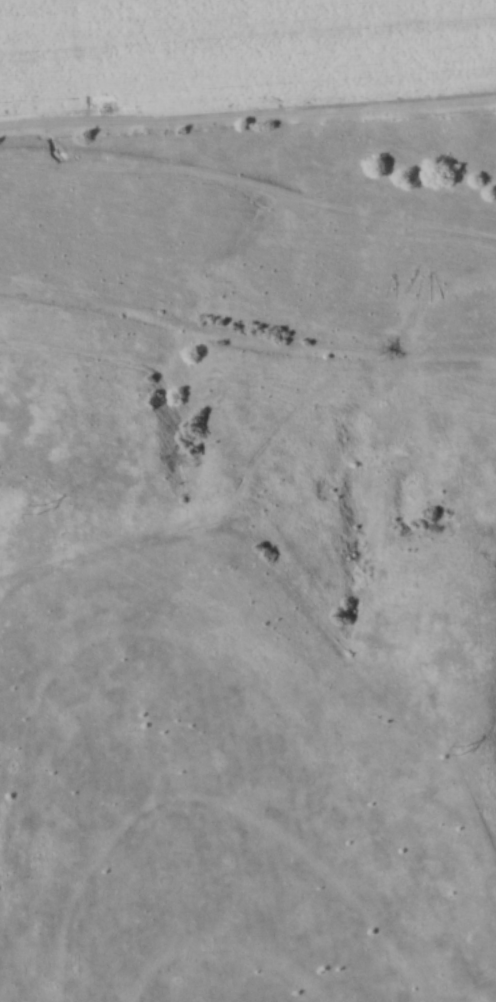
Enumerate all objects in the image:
crop: (233, 53)
power tower: (38, 507)
power tower: (462, 748)

